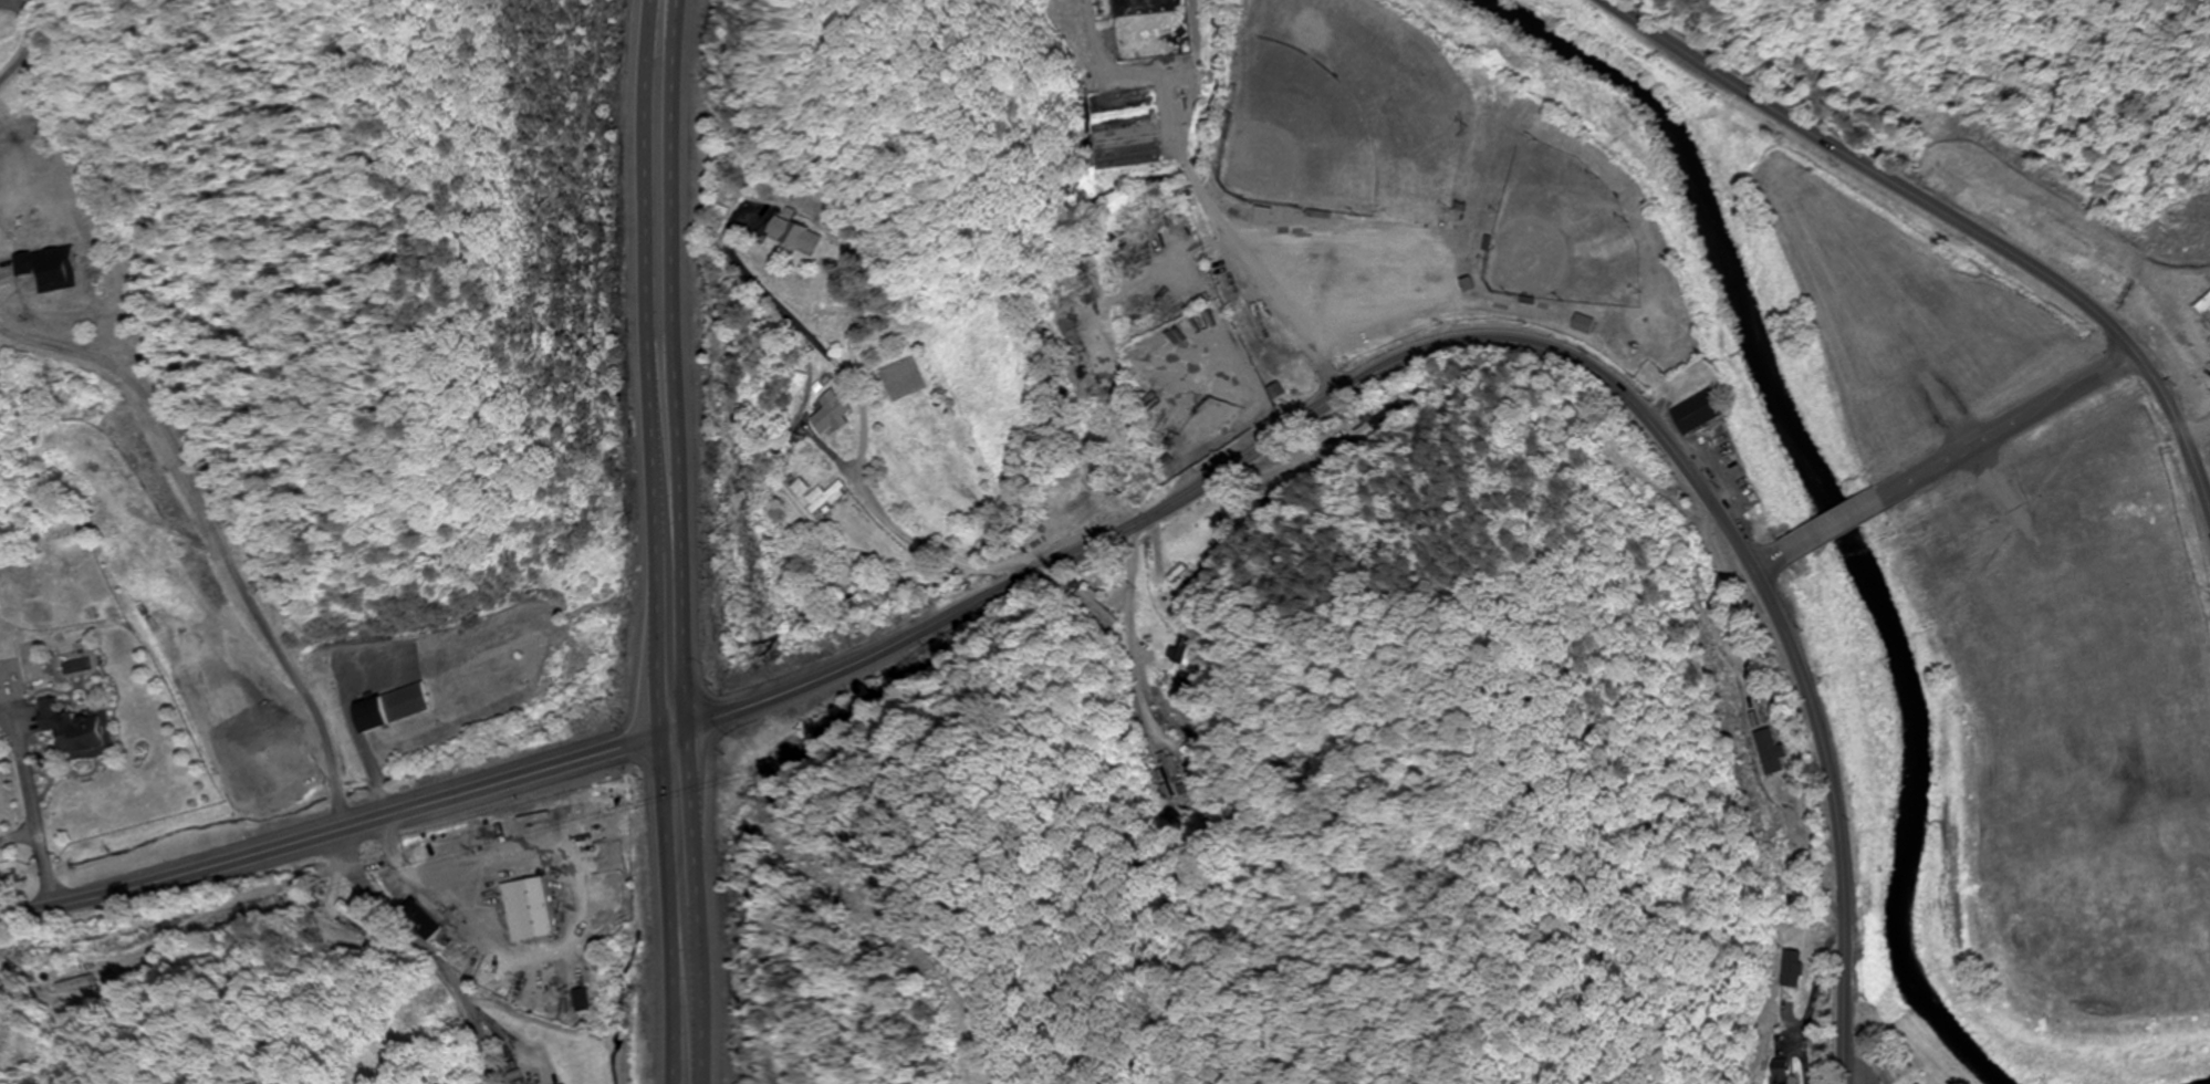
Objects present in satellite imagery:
road: (25, 42)
wastewater plant: (1143, 76)
park: (1344, 112)
road: (1198, 188)
road: (1948, 216)
building: (1266, 217)
park: (1563, 234)
building: (790, 237)
parking lot: (1369, 285)
building: (1584, 325)
road: (1494, 341)
building: (1701, 413)
building: (833, 414)
building: (1380, 421)
road: (2006, 423)
building: (799, 489)
river: (1827, 494)
building: (827, 498)
road: (1831, 521)
road: (653, 541)
road: (687, 541)
road: (205, 549)
road: (1766, 557)
building: (1182, 647)
building: (398, 708)
building: (81, 730)
building: (230, 738)
building: (1768, 749)
building: (1166, 770)
road: (31, 801)
road: (350, 827)
road: (20, 837)
building: (528, 910)
building: (361, 917)
building: (425, 923)
road: (425, 949)
building: (1793, 970)
building: (84, 986)
building: (582, 1000)
road: (1814, 1007)
building: (1784, 1072)
river: (2209, 1083)

